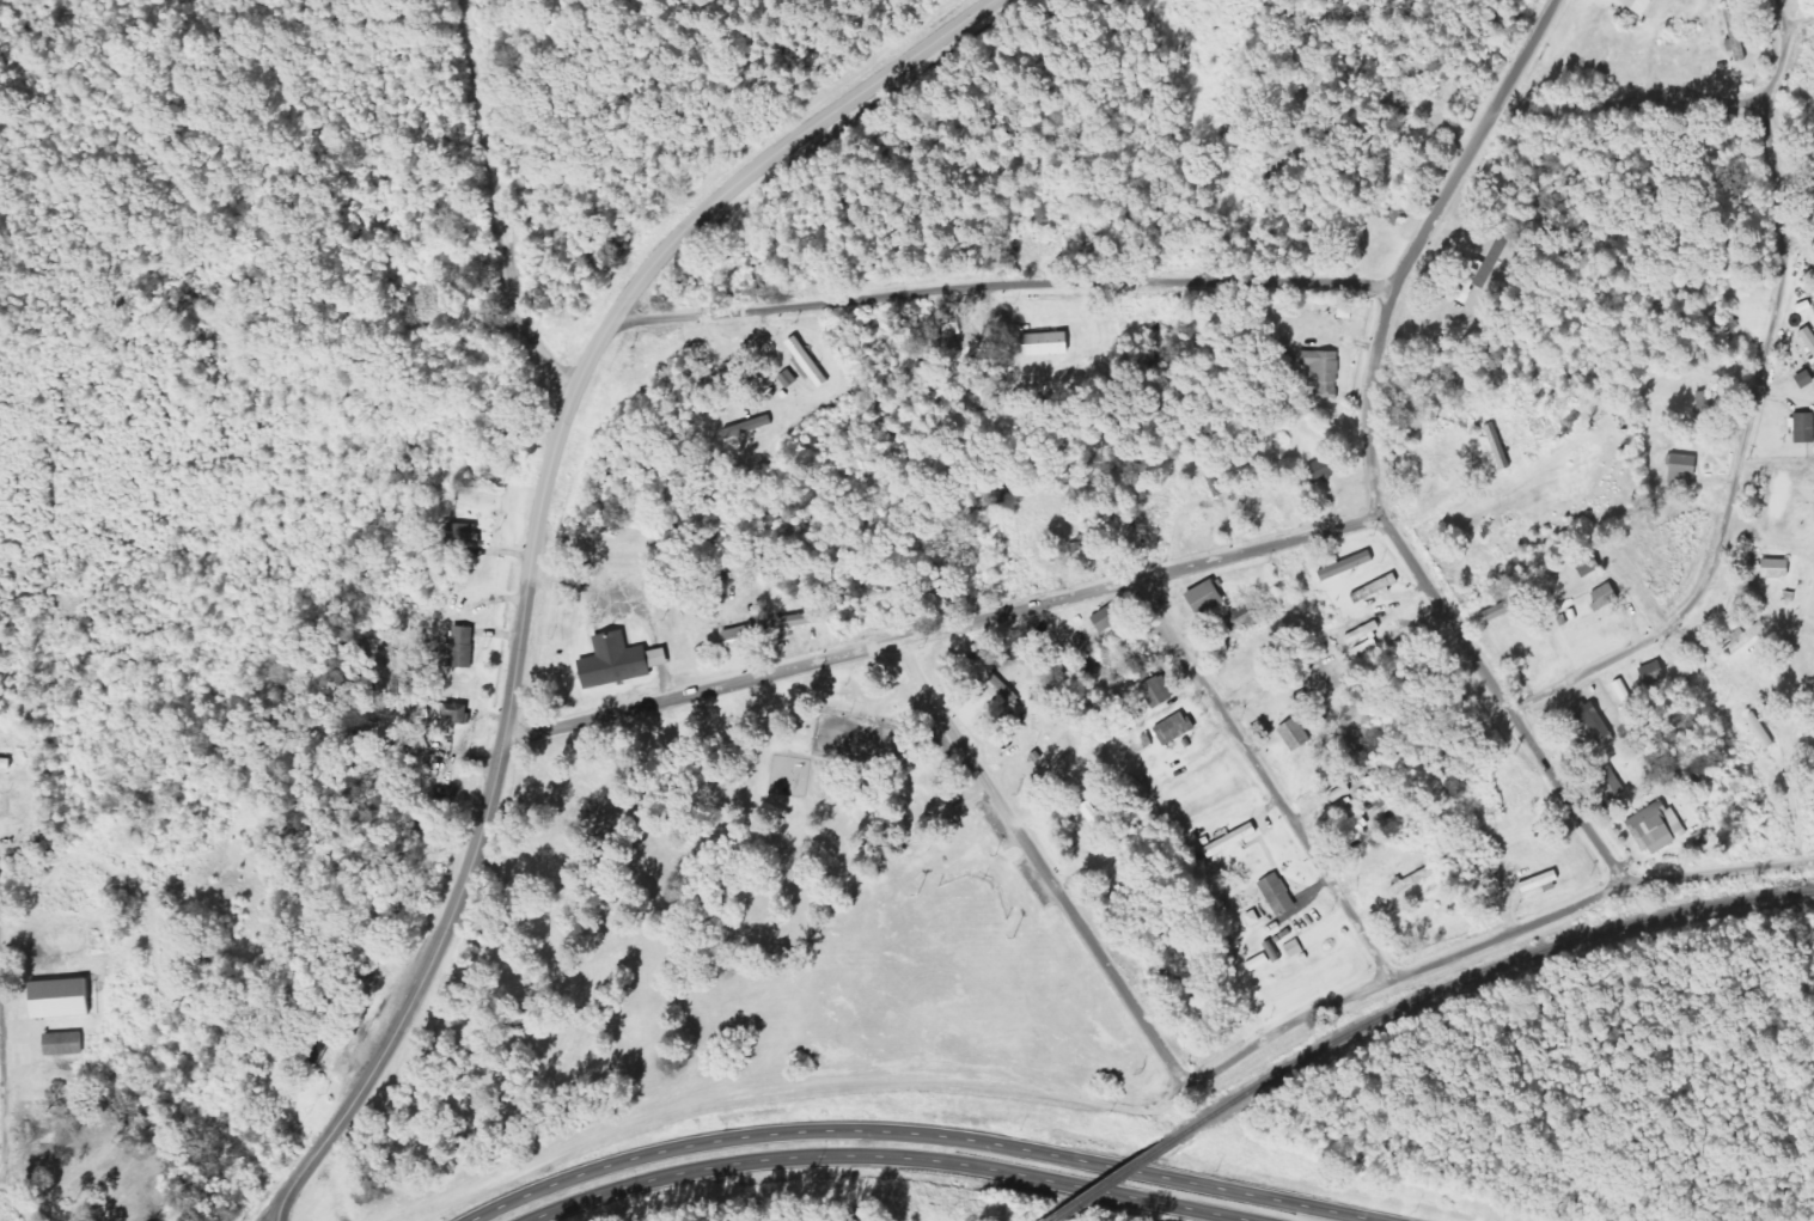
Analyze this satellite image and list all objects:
road: (1800, 24)
building: (1739, 33)
road: (1626, 100)
road: (759, 169)
road: (513, 200)
road: (365, 263)
building: (1486, 270)
building: (766, 273)
road: (1002, 283)
building: (1349, 313)
road: (1773, 323)
building: (1810, 335)
building: (1050, 343)
building: (811, 364)
building: (1327, 372)
building: (1711, 405)
building: (1807, 427)
road: (1373, 457)
building: (1326, 470)
building: (1686, 470)
building: (465, 533)
building: (1130, 533)
building: (1350, 566)
building: (1779, 568)
building: (1379, 588)
building: (1610, 596)
building: (1210, 598)
building: (1505, 610)
building: (1110, 618)
building: (1248, 618)
building: (796, 621)
road: (943, 625)
building: (1749, 637)
building: (741, 640)
building: (1368, 640)
building: (466, 647)
building: (625, 660)
road: (1587, 669)
building: (1657, 673)
building: (1162, 691)
building: (460, 712)
building: (1598, 721)
building: (1178, 729)
building: (1764, 731)
building: (1299, 734)
road: (1735, 743)
road: (1264, 777)
building: (1614, 782)
building: (1098, 816)
road: (482, 826)
building: (1661, 828)
building: (1357, 829)
building: (1235, 840)
road: (1039, 862)
building: (1545, 883)
building: (1282, 895)
road: (1491, 938)
building: (1297, 948)
railway: (1488, 969)
building: (65, 999)
building: (68, 1044)
road: (788, 1089)
road: (2, 1119)
road: (915, 1131)
road: (891, 1155)
railway: (1123, 1173)
road: (2, 1178)
road: (19, 1198)
road: (273, 1211)

